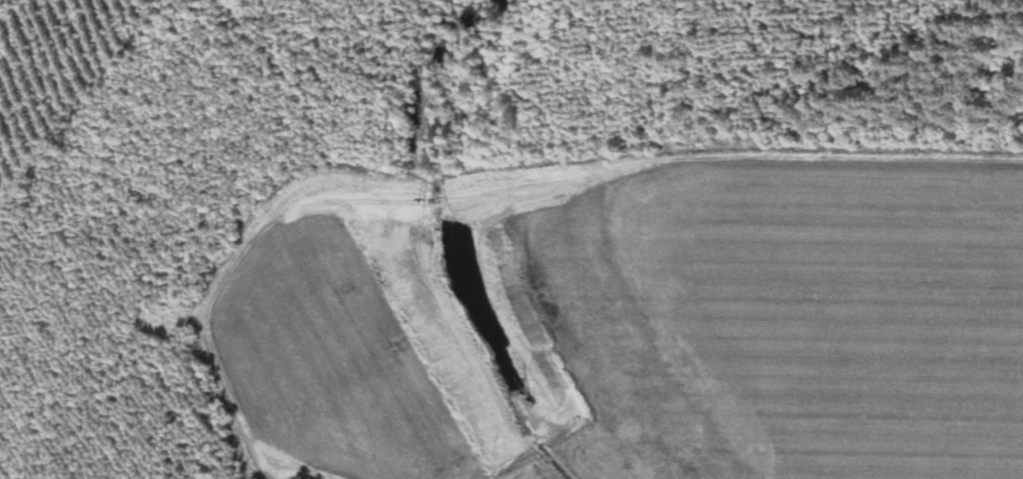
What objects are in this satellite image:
road: (323, 476)

